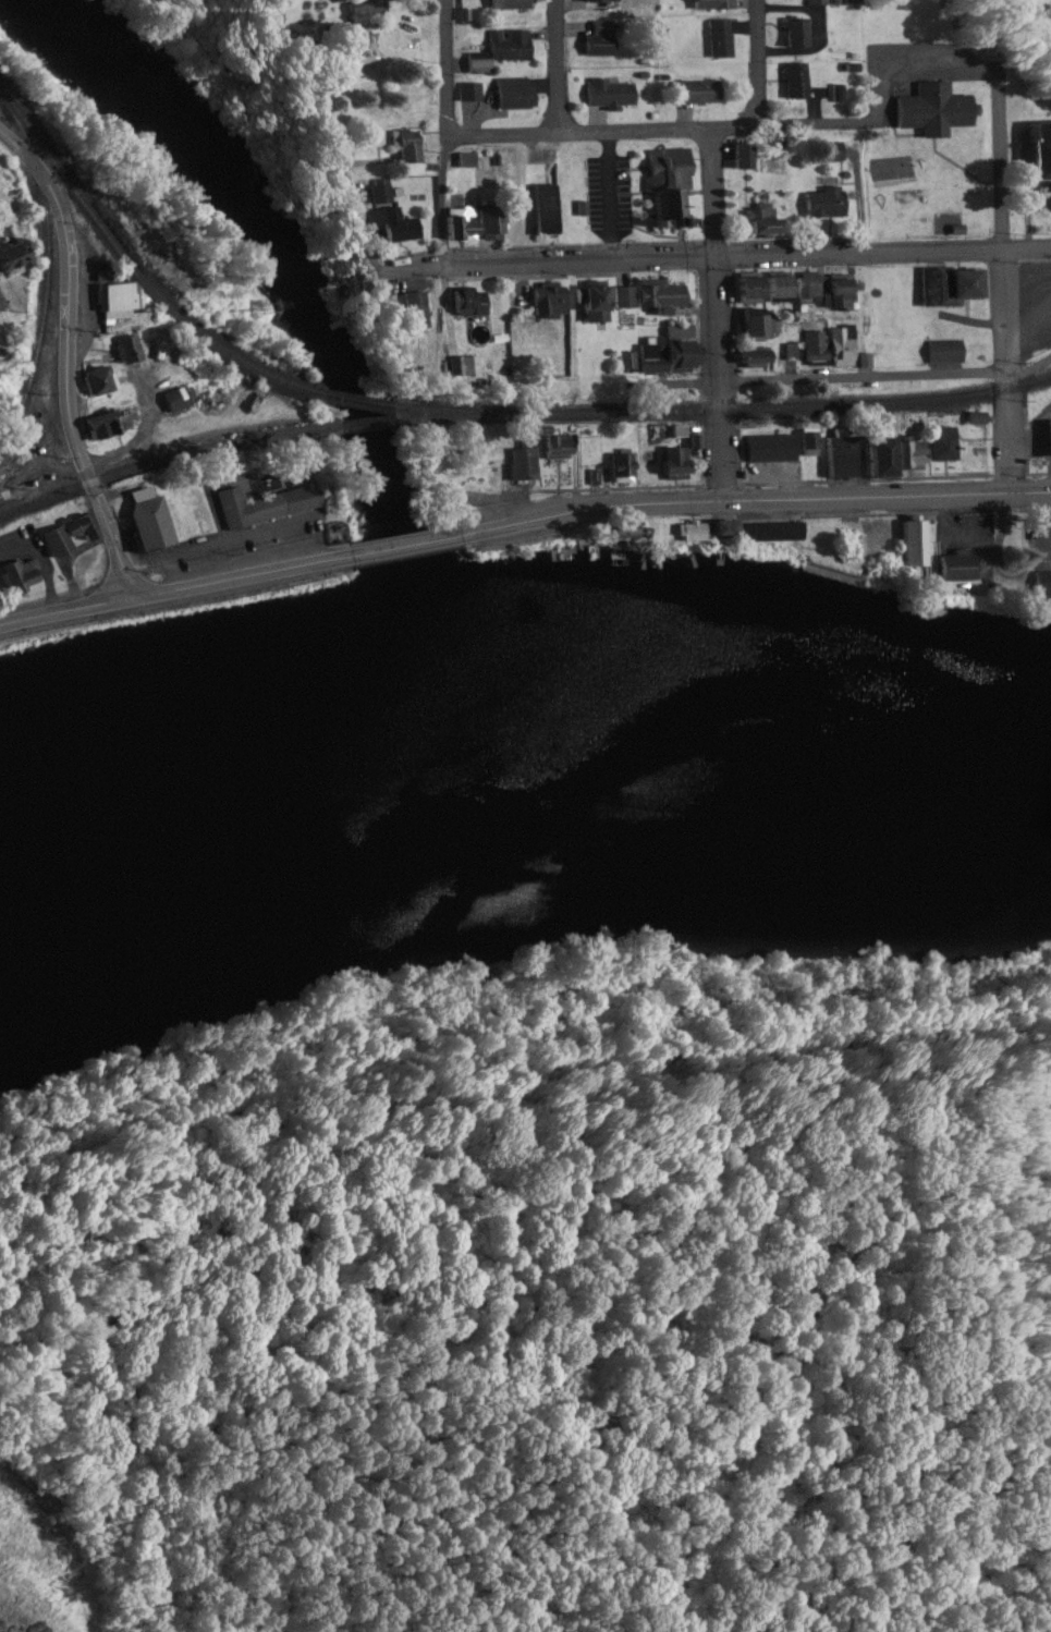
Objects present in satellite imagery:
building: (606, 1)
building: (814, 2)
building: (520, 4)
building: (719, 5)
building: (374, 10)
building: (790, 34)
building: (724, 39)
building: (604, 40)
building: (503, 51)
road: (756, 63)
road: (559, 65)
building: (792, 83)
building: (472, 93)
building: (700, 94)
building: (516, 95)
building: (613, 96)
railway: (9, 100)
building: (930, 110)
road: (750, 126)
road: (445, 132)
building: (411, 146)
building: (827, 153)
building: (1035, 154)
building: (736, 158)
building: (0, 162)
building: (663, 186)
building: (820, 202)
building: (549, 211)
building: (396, 220)
building: (755, 221)
building: (477, 229)
building: (19, 256)
road: (746, 257)
railway: (143, 270)
road: (1009, 280)
railway: (41, 283)
building: (960, 284)
building: (759, 290)
building: (820, 292)
building: (644, 295)
building: (124, 299)
building: (553, 300)
road: (4, 301)
building: (473, 302)
building: (589, 304)
road: (718, 315)
building: (751, 325)
river: (320, 338)
building: (0, 339)
building: (839, 346)
building: (811, 349)
building: (132, 350)
building: (660, 353)
building: (942, 353)
building: (750, 358)
building: (864, 361)
road: (65, 362)
building: (464, 365)
road: (888, 380)
building: (101, 381)
building: (179, 400)
railway: (353, 400)
railway: (784, 409)
railway: (460, 411)
railway: (469, 416)
building: (109, 425)
railway: (367, 425)
building: (1044, 439)
building: (808, 440)
building: (942, 444)
building: (562, 448)
building: (768, 449)
building: (531, 455)
building: (889, 456)
building: (836, 458)
building: (671, 464)
building: (619, 467)
railway: (152, 468)
building: (13, 487)
road: (768, 502)
building: (267, 506)
building: (152, 524)
building: (1039, 531)
building: (750, 532)
building: (68, 537)
road: (411, 545)
building: (909, 545)
building: (953, 568)
building: (22, 576)
building: (1039, 584)
road: (168, 592)
river: (516, 763)

